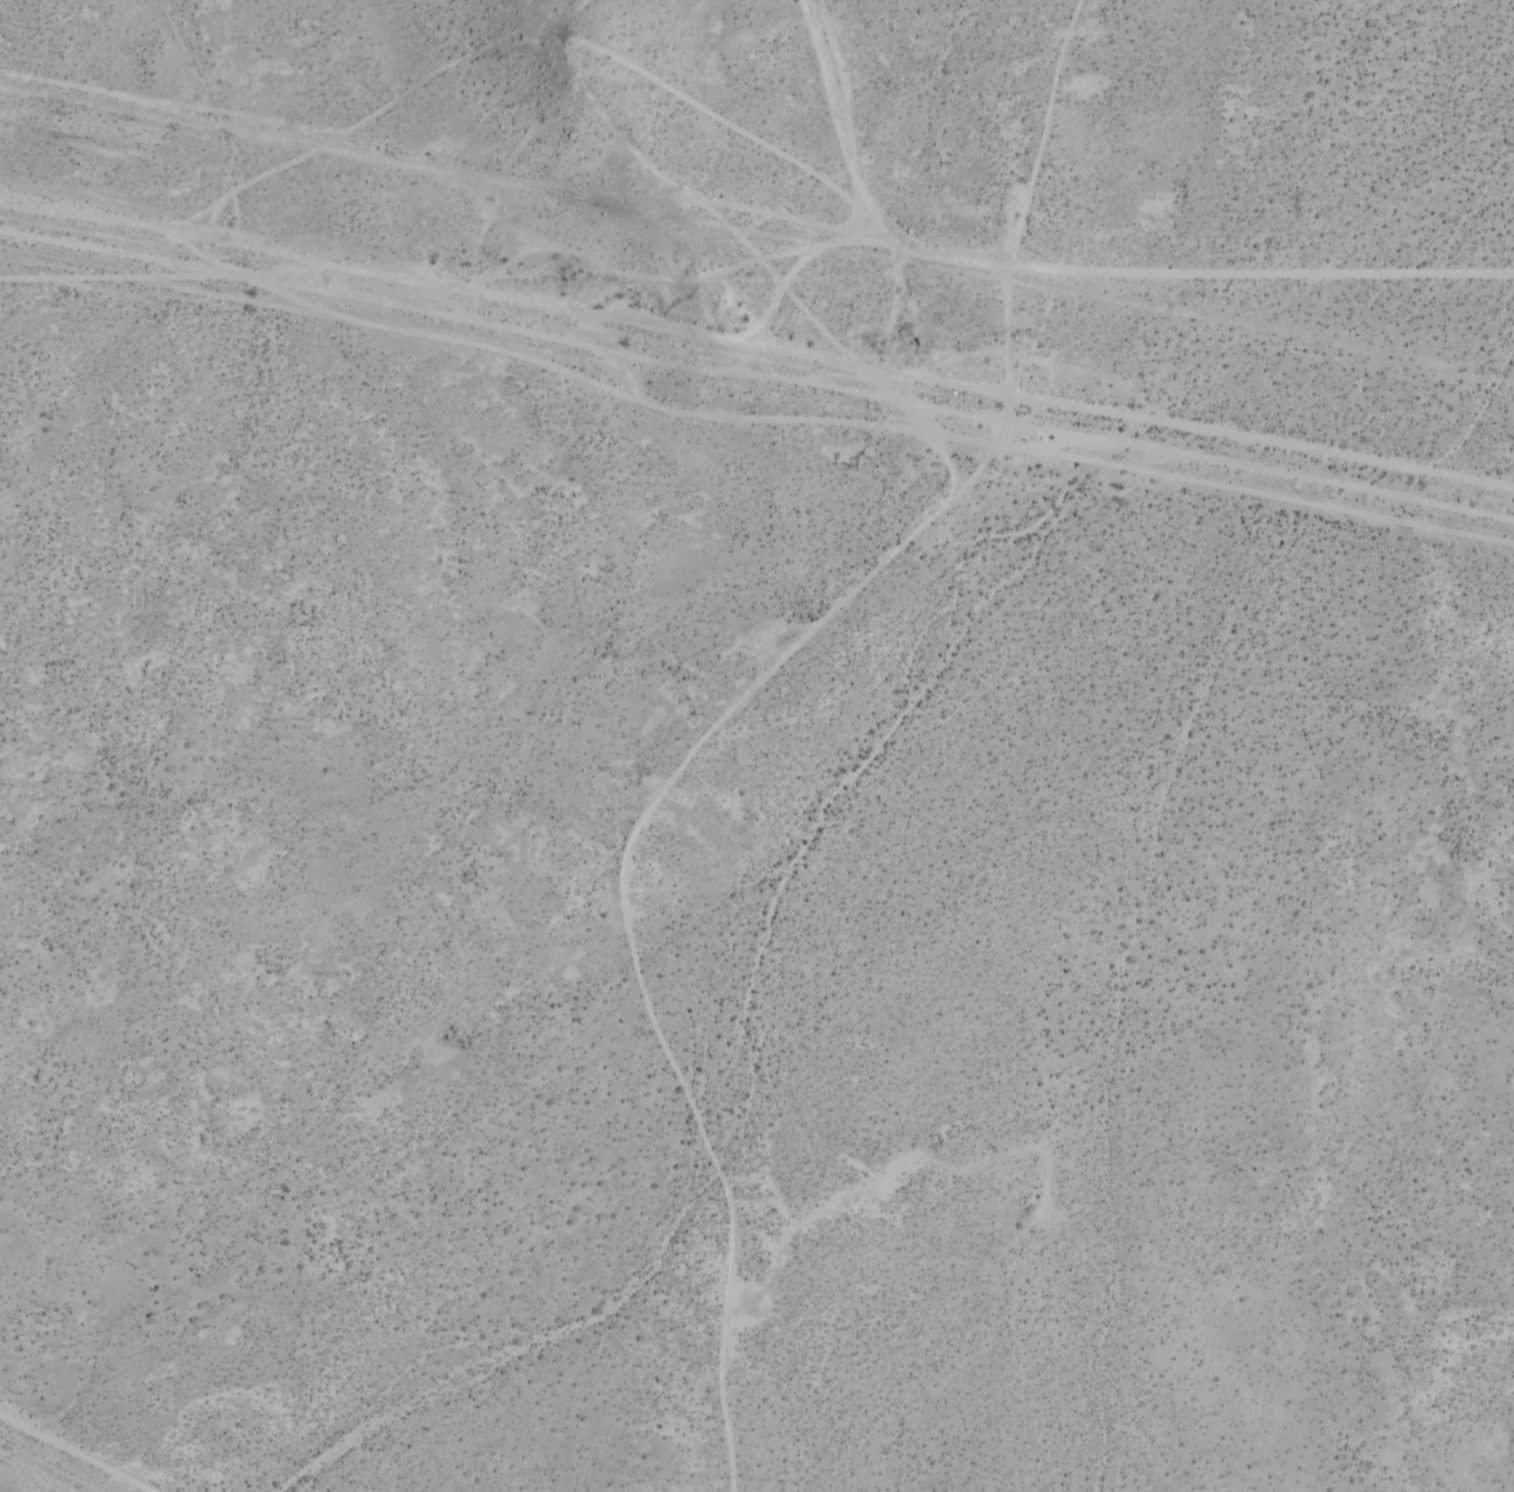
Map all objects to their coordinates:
road: (757, 266)

